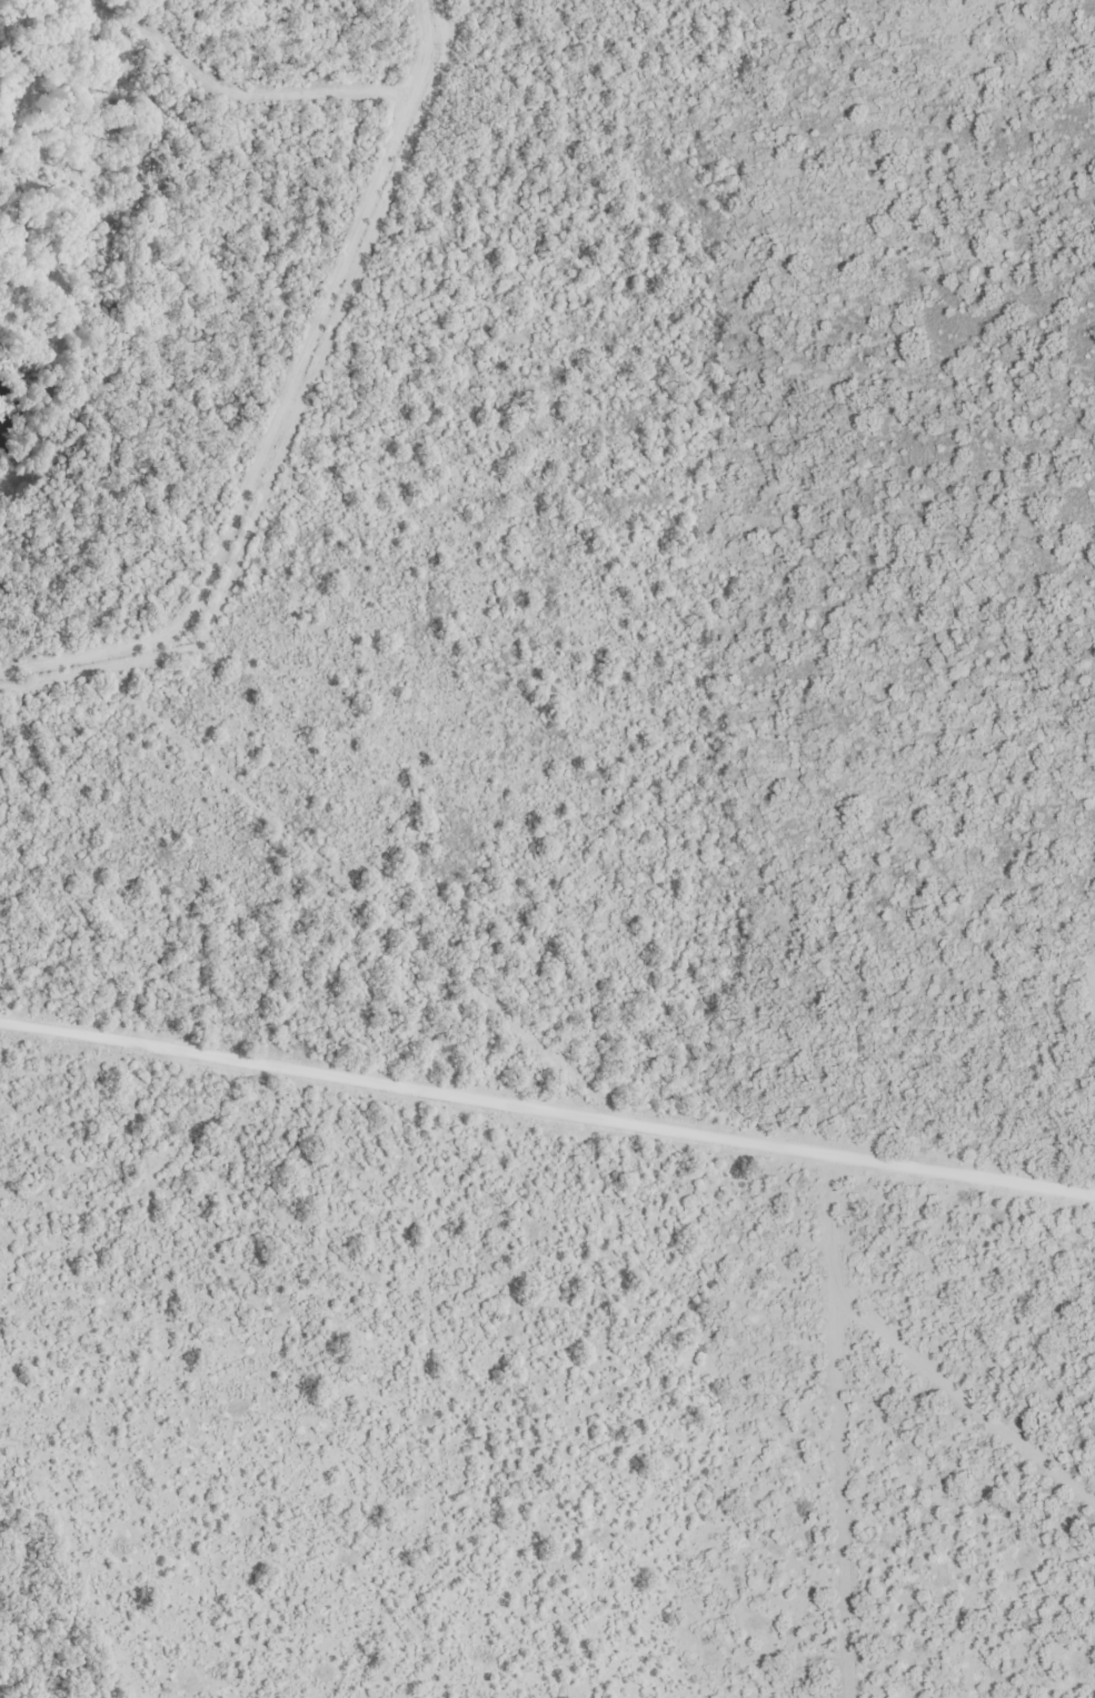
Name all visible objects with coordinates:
road: (285, 298)
river: (7, 417)
road: (547, 1105)

